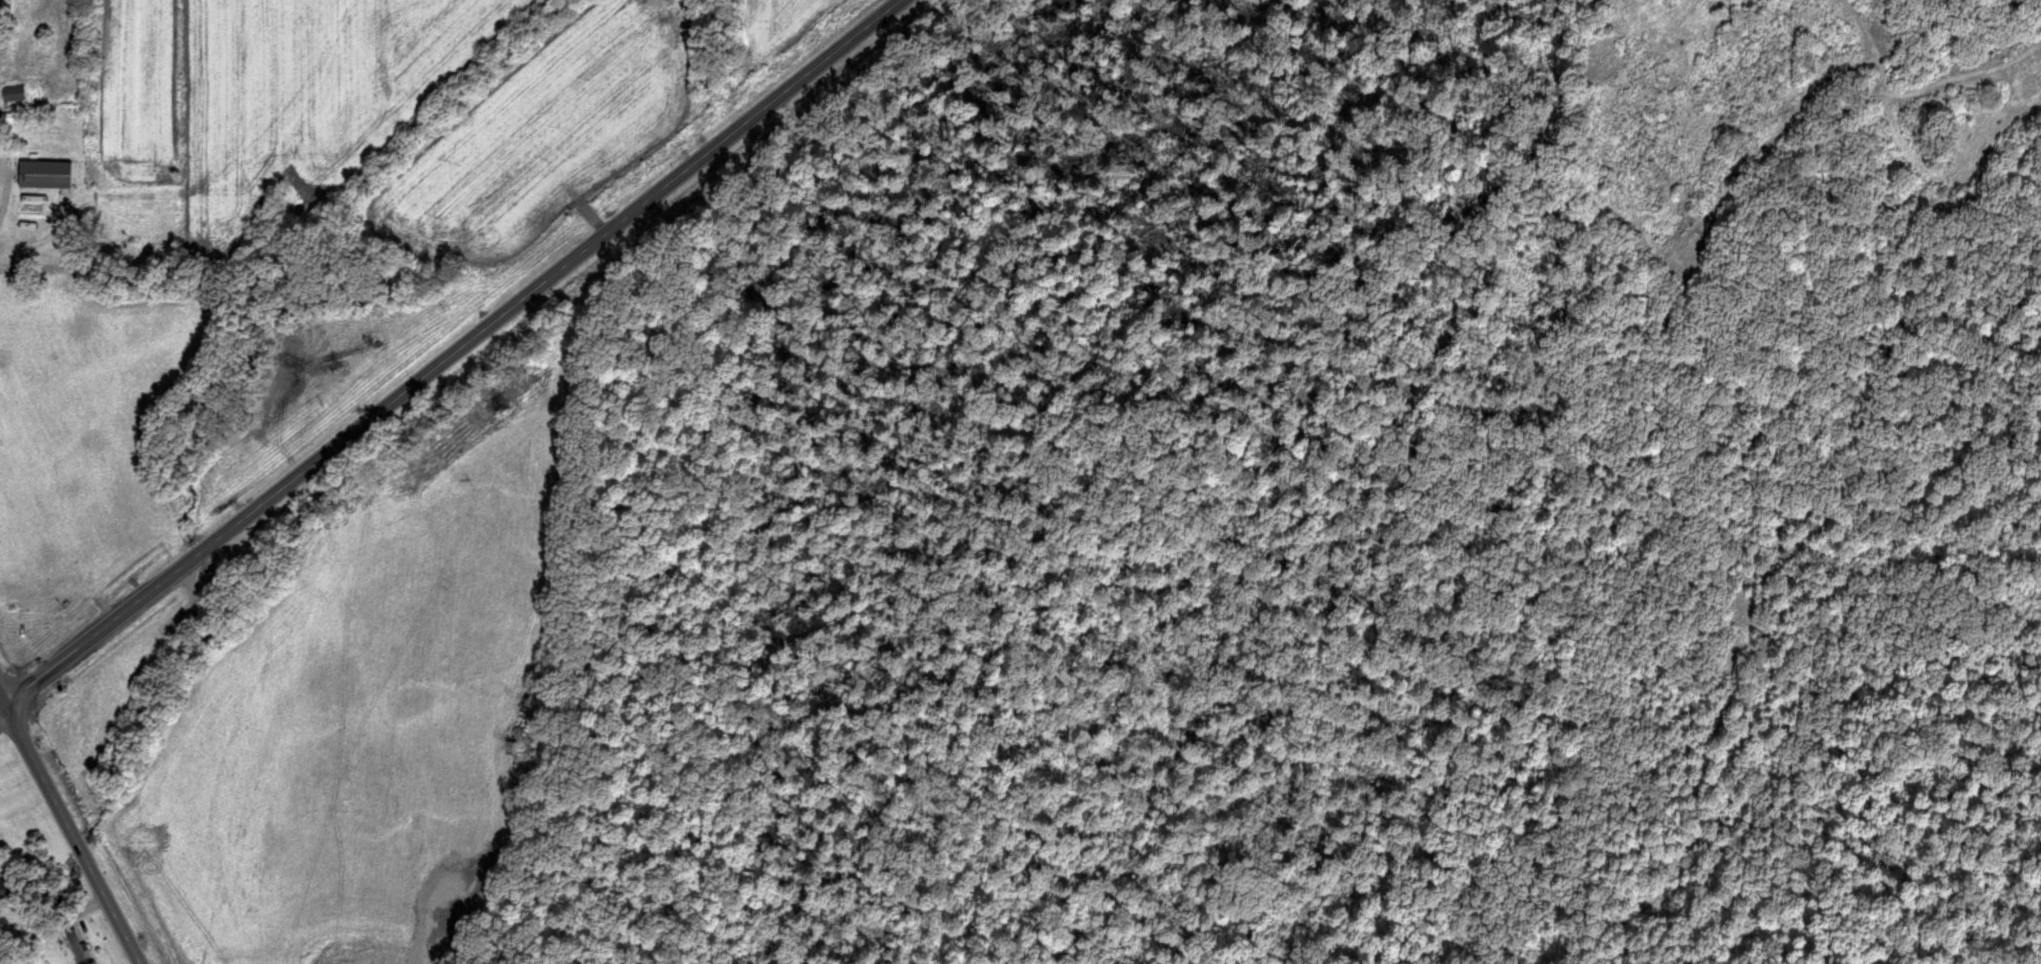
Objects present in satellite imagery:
building: (14, 93)
building: (46, 175)
road: (453, 351)
road: (1, 702)
road: (69, 829)
building: (9, 891)
building: (78, 947)

